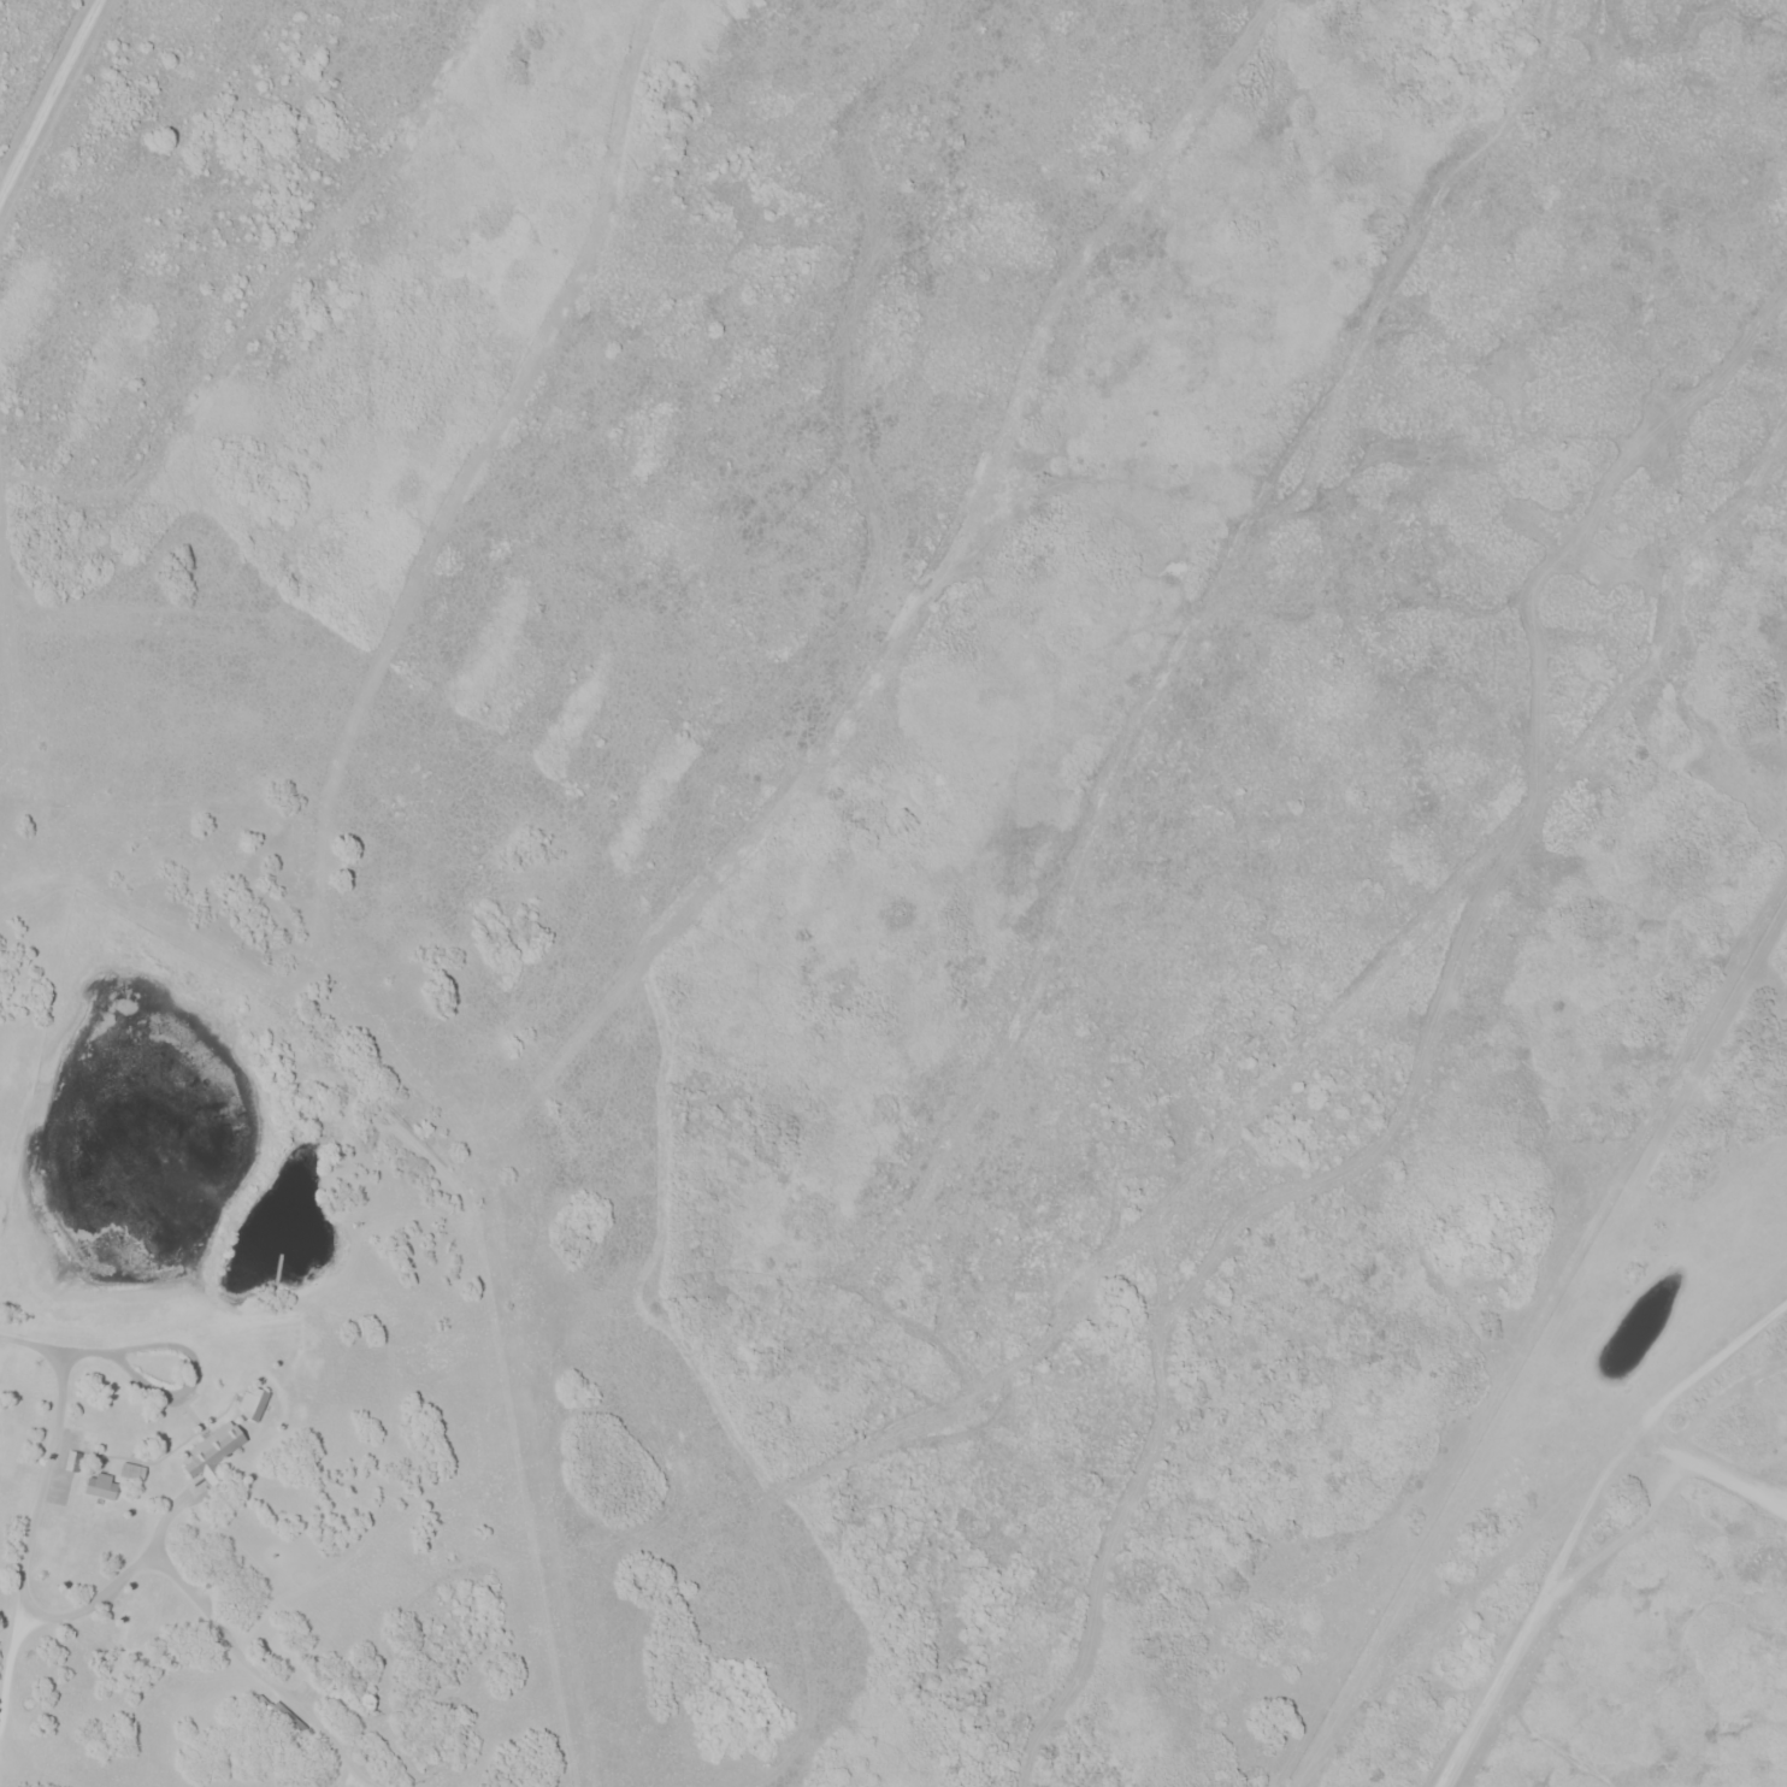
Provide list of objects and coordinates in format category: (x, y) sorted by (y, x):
building: (213, 1453)
building: (131, 1473)
building: (100, 1490)
building: (137, 1618)
building: (284, 1662)
building: (285, 1728)

